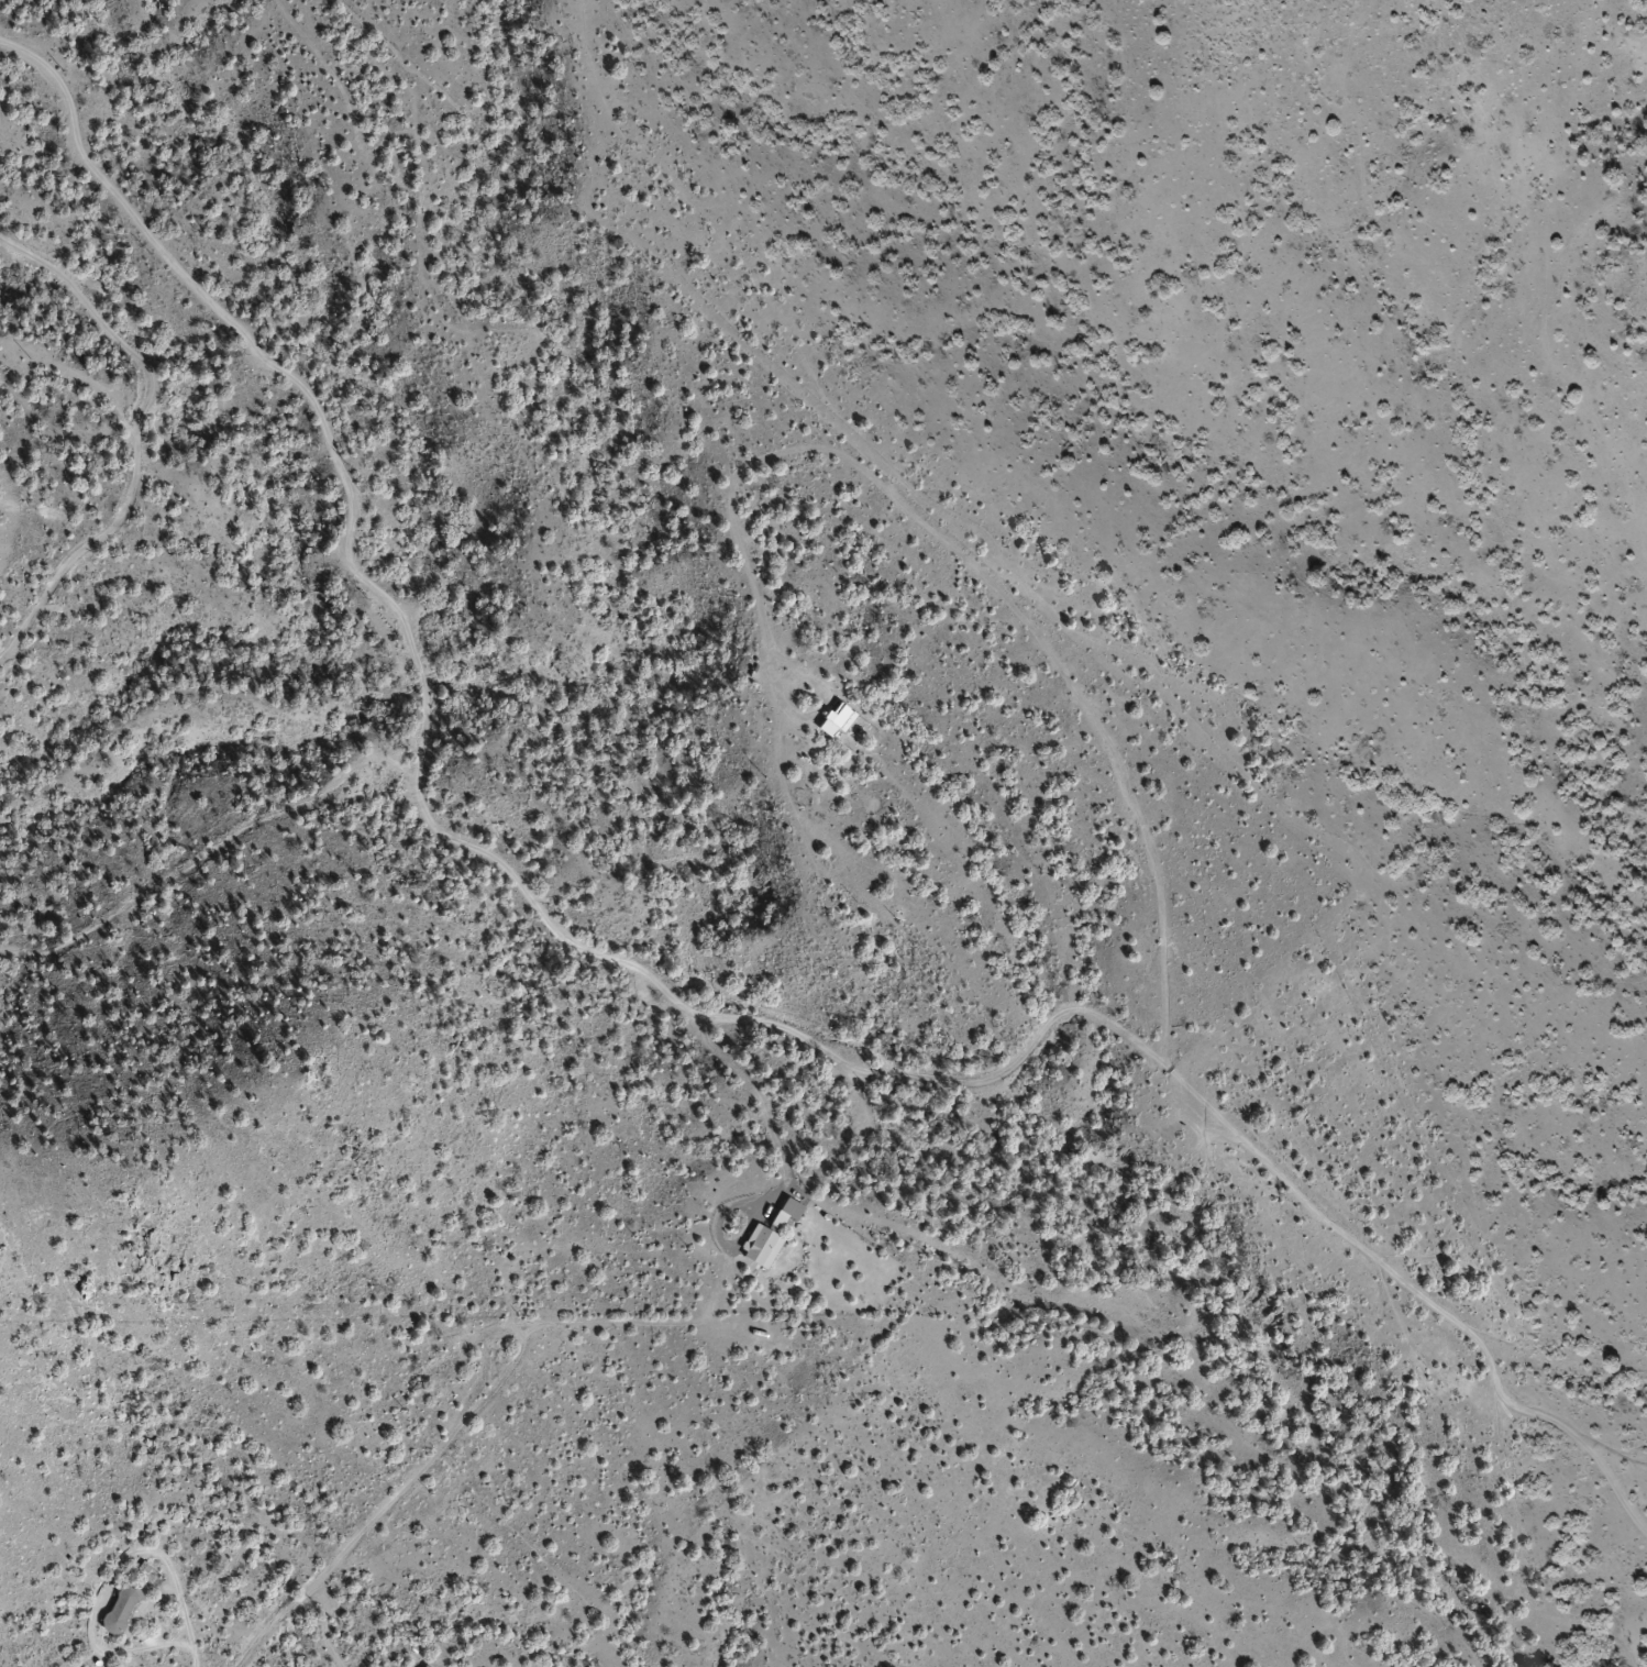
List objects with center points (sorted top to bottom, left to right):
building: (838, 716)
road: (1128, 764)
building: (783, 1213)
building: (759, 1247)
road: (716, 1311)
building: (422, 1666)

